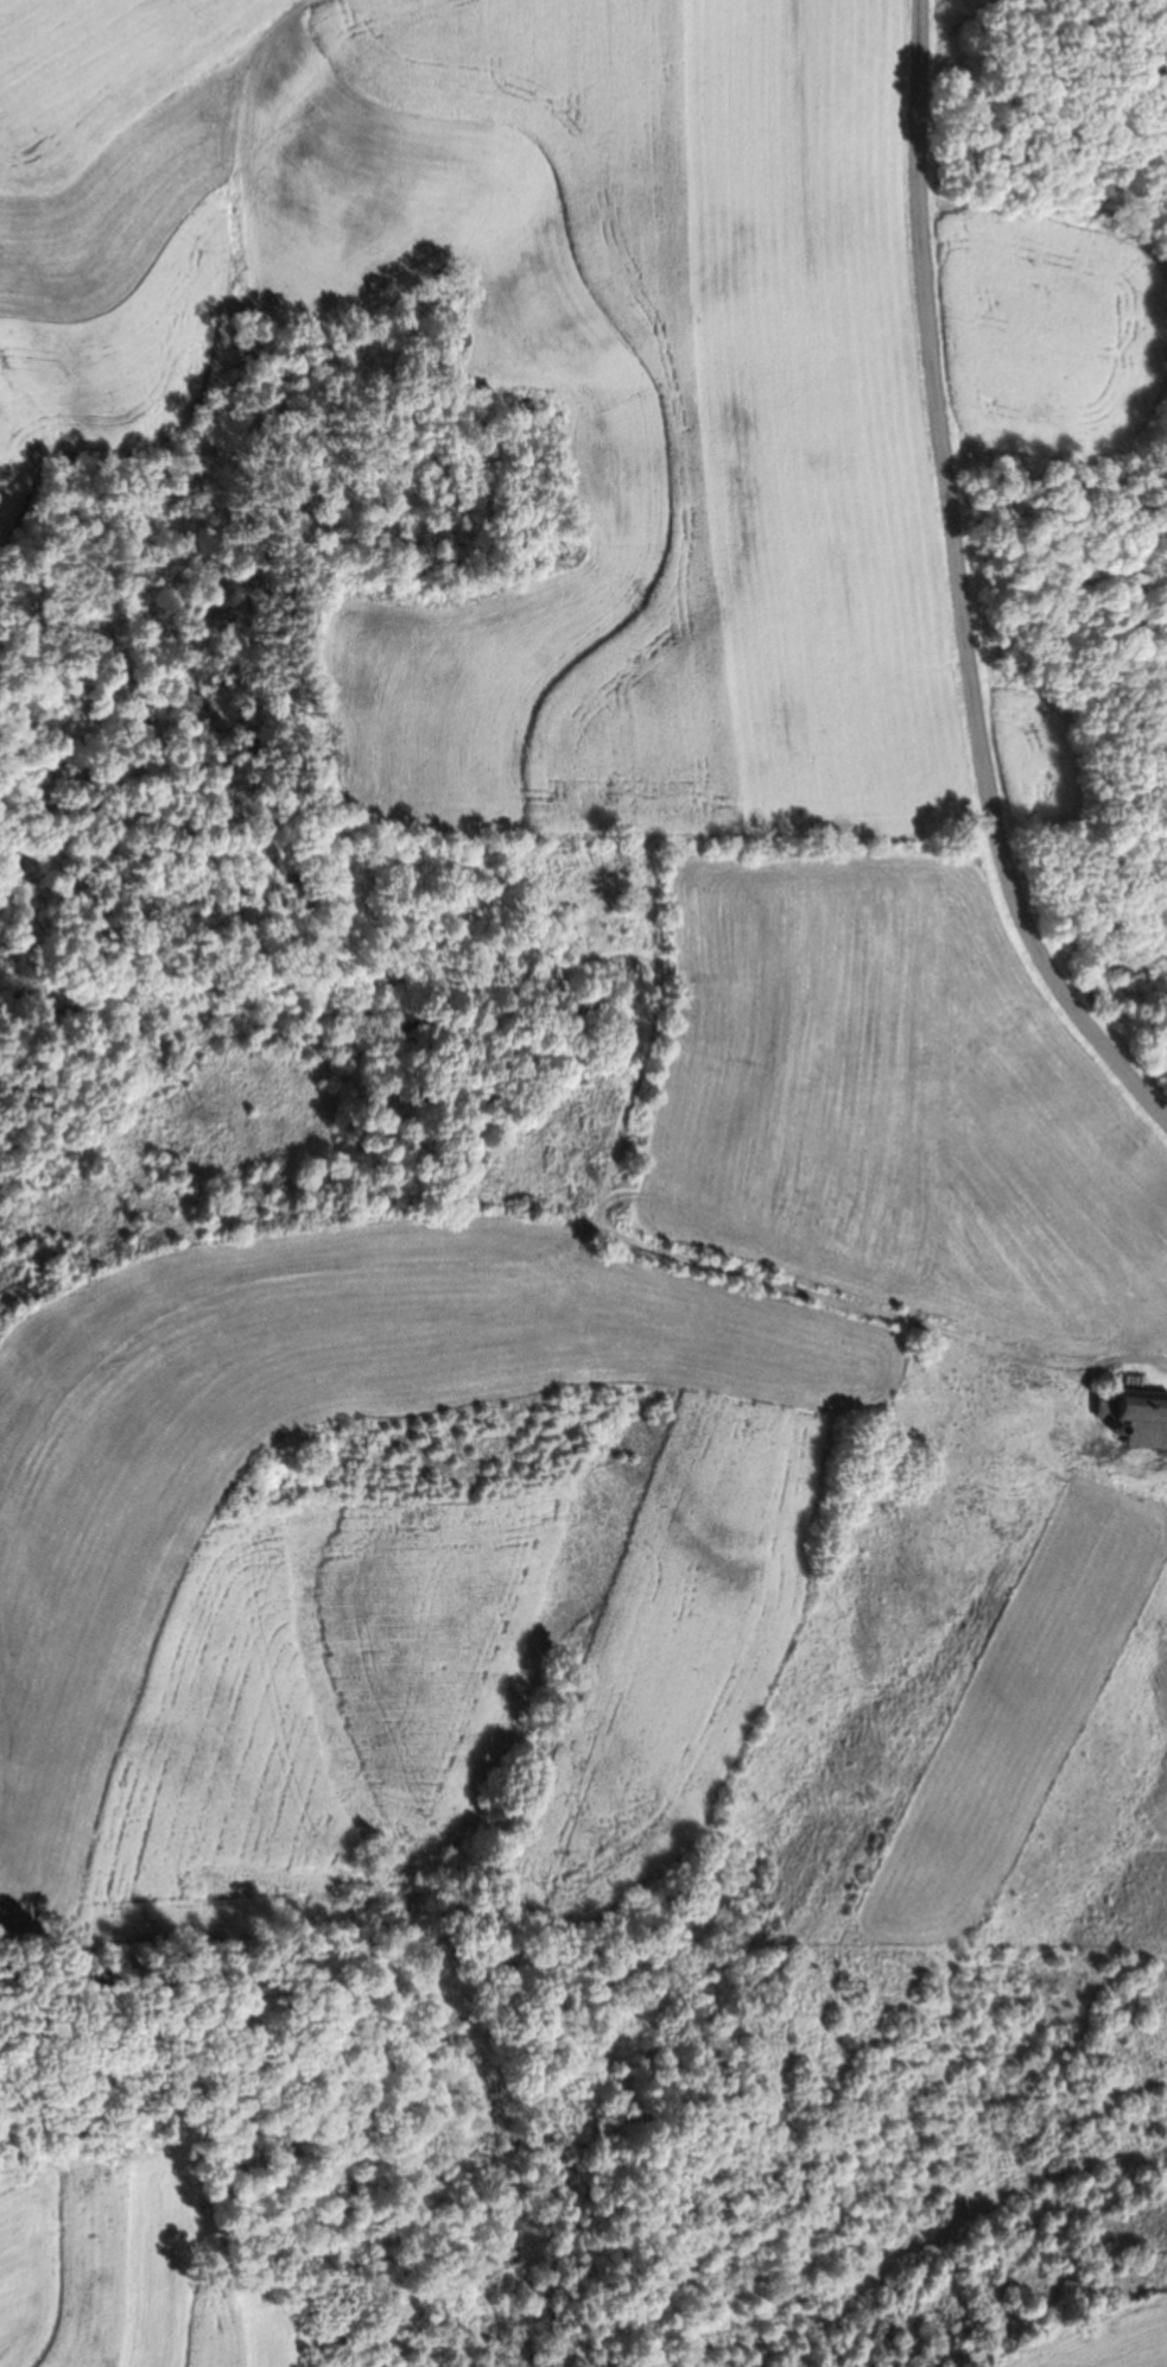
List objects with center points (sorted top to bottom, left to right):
road: (957, 587)
building: (1139, 1416)

